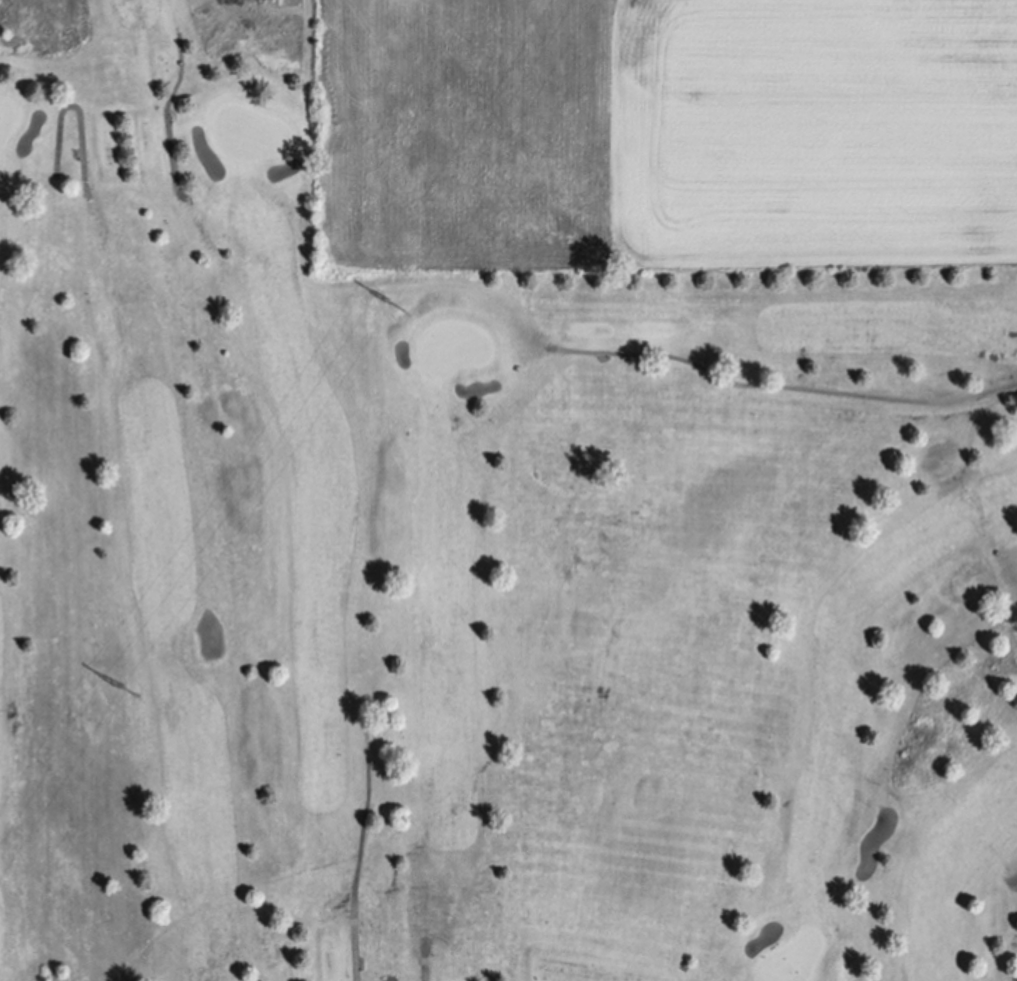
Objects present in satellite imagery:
power tower: (395, 303)
park: (472, 574)
power tower: (131, 690)

